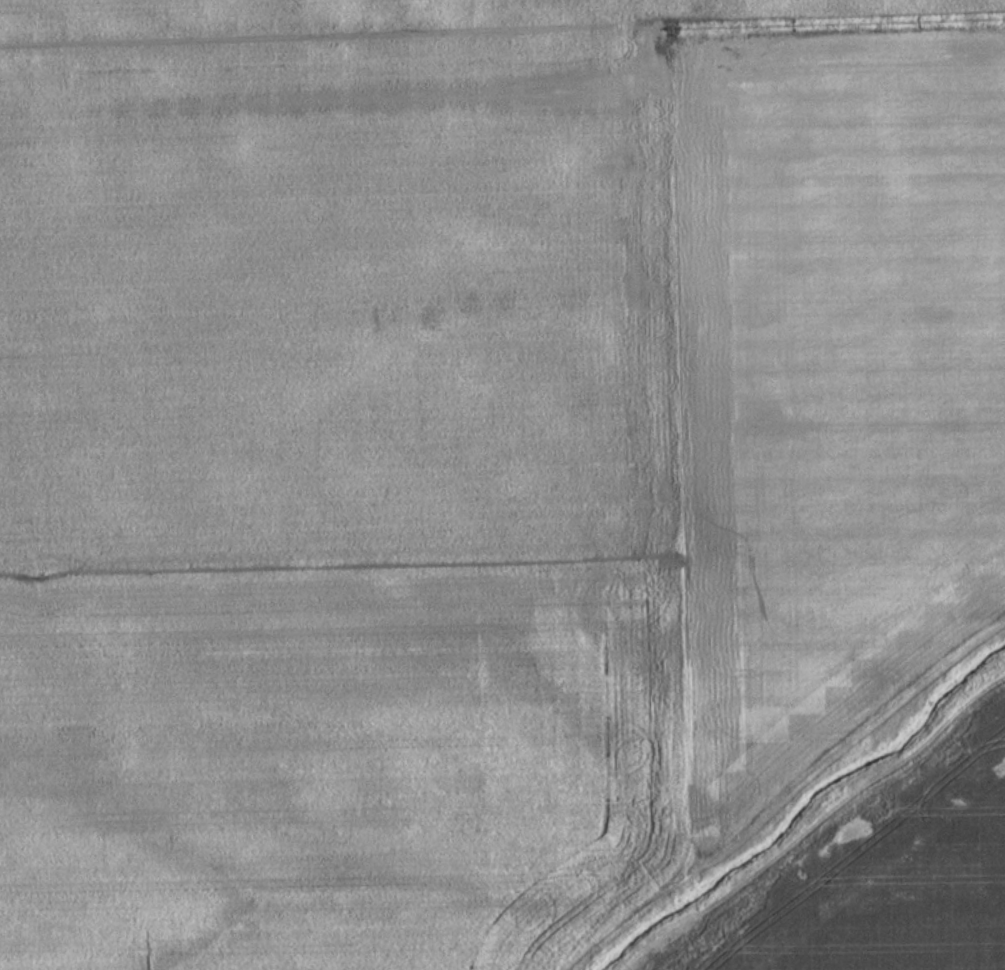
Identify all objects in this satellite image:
crop: (469, 451)
crop: (884, 876)

